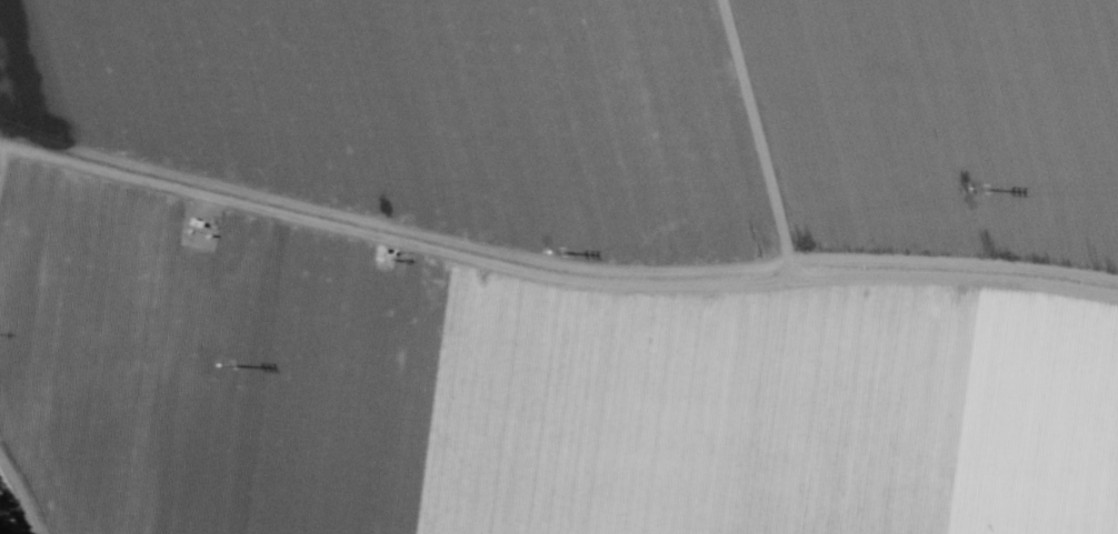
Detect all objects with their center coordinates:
crop: (559, 266)

